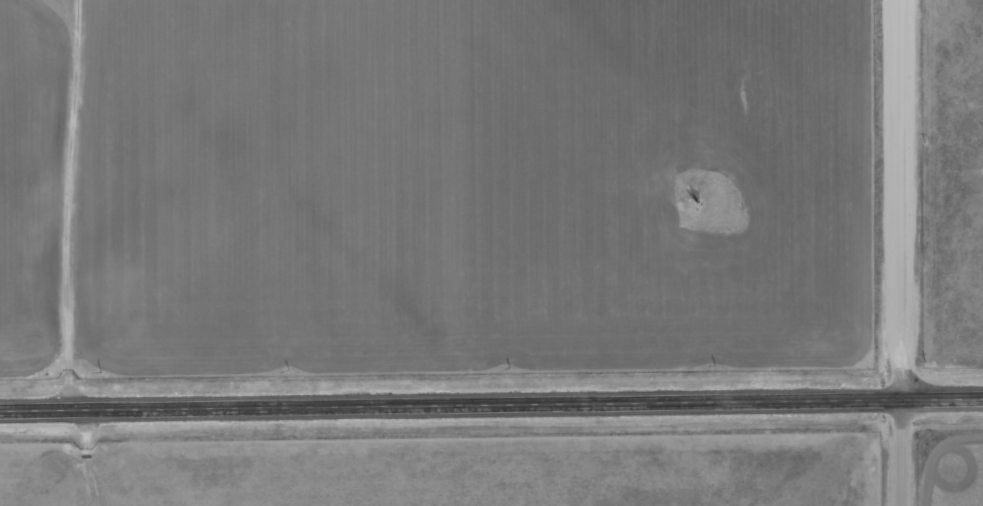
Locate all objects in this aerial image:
road: (906, 200)
road: (491, 406)
road: (906, 452)

